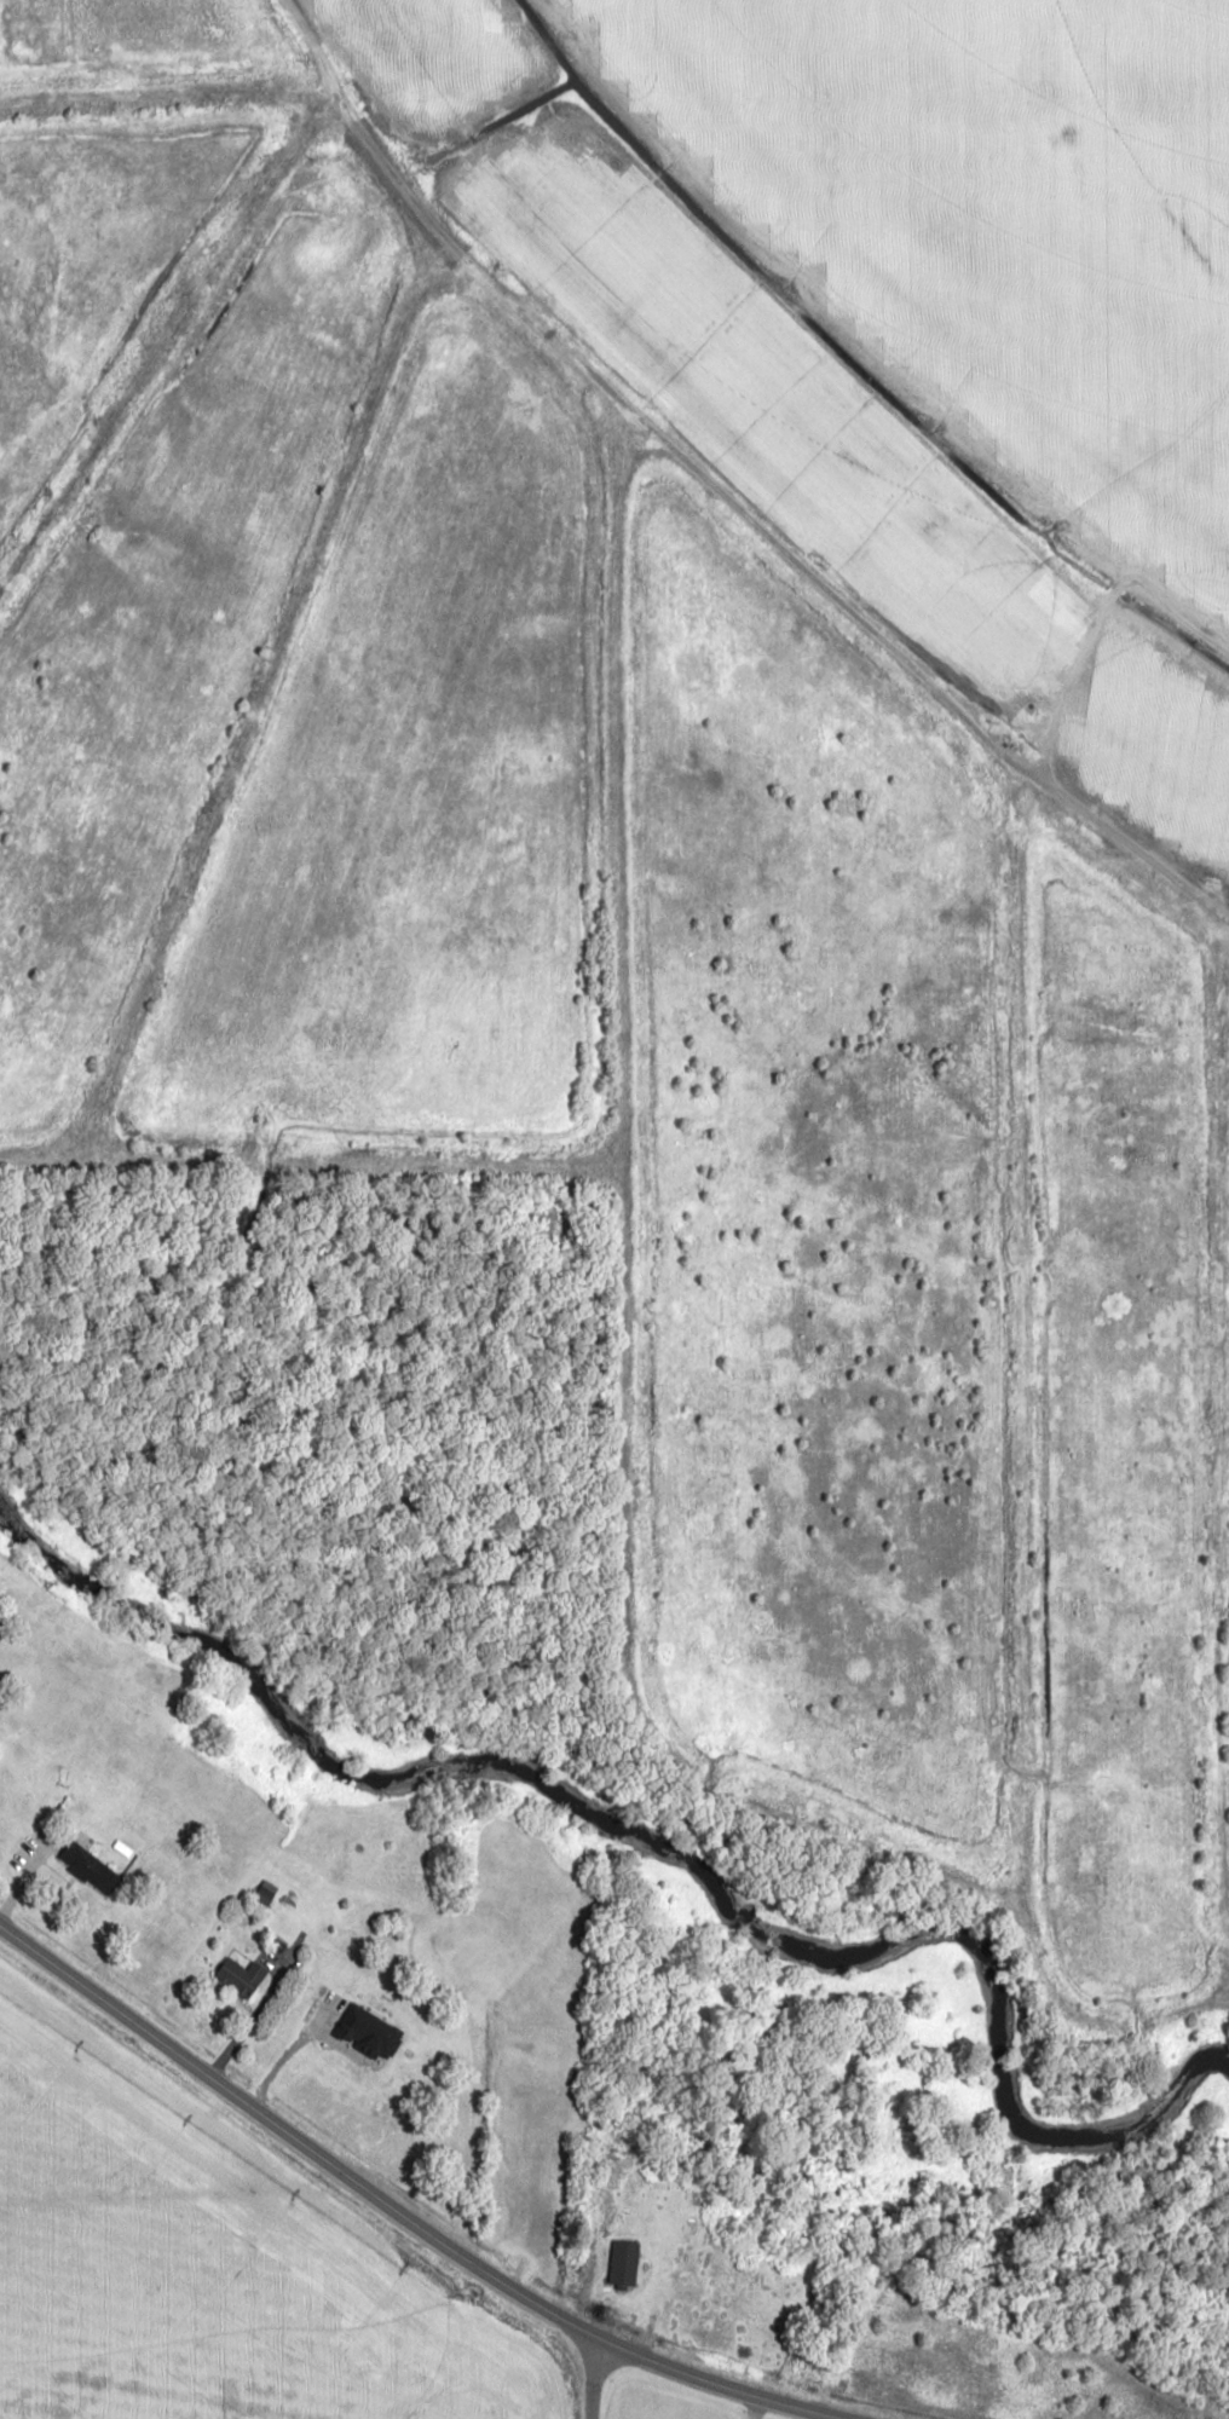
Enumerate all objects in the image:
road: (167, 98)
road: (717, 492)
road: (611, 1497)
building: (87, 1867)
building: (238, 1976)
road: (249, 2014)
road: (397, 2211)
building: (623, 2265)
road: (589, 2375)

